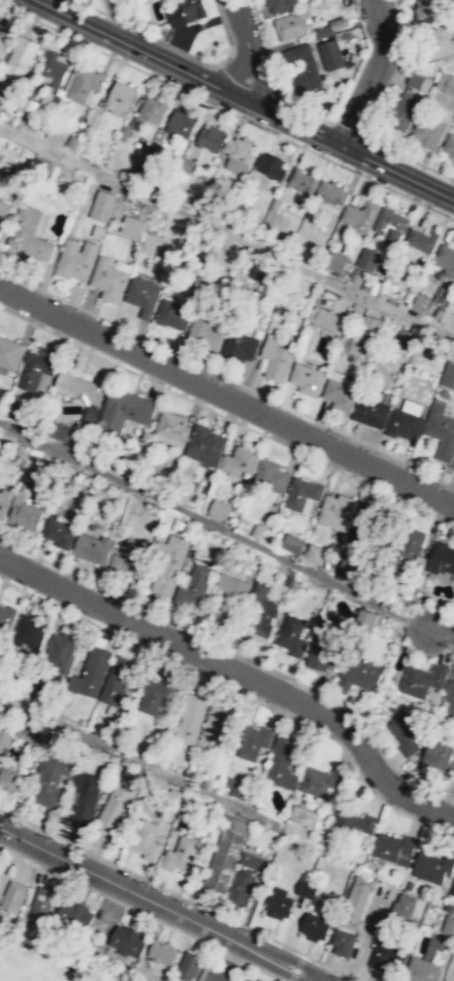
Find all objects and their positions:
building: (281, 5)
building: (426, 11)
building: (186, 12)
building: (4, 16)
road: (111, 19)
building: (292, 24)
building: (324, 31)
building: (440, 41)
street lamp: (89, 43)
road: (247, 49)
road: (267, 49)
road: (178, 50)
building: (332, 55)
building: (20, 56)
street lamp: (268, 57)
building: (52, 68)
road: (395, 69)
building: (308, 71)
road: (187, 72)
road: (374, 75)
building: (418, 82)
building: (84, 83)
building: (445, 83)
street lamp: (176, 84)
building: (120, 96)
building: (150, 109)
road: (226, 110)
road: (307, 110)
building: (404, 110)
building: (93, 117)
building: (181, 122)
street lamp: (269, 128)
road: (348, 129)
building: (124, 132)
building: (428, 132)
building: (57, 135)
building: (211, 137)
building: (73, 141)
building: (449, 146)
building: (155, 150)
building: (238, 154)
road: (409, 158)
building: (270, 165)
building: (0, 171)
street lamp: (361, 172)
road: (396, 172)
building: (304, 181)
building: (331, 192)
building: (102, 205)
building: (275, 205)
building: (3, 211)
street lamp: (449, 214)
building: (361, 215)
building: (391, 225)
building: (132, 226)
building: (99, 233)
building: (28, 235)
road: (232, 236)
building: (422, 239)
building: (151, 243)
building: (76, 258)
building: (368, 258)
building: (445, 258)
building: (337, 261)
building: (262, 272)
building: (108, 279)
building: (142, 295)
building: (437, 312)
building: (173, 313)
building: (327, 320)
building: (448, 320)
building: (371, 326)
building: (203, 330)
building: (404, 339)
building: (240, 345)
building: (10, 352)
building: (276, 358)
building: (34, 369)
building: (449, 373)
road: (226, 377)
building: (306, 378)
building: (79, 388)
building: (340, 393)
road: (227, 394)
building: (15, 410)
building: (123, 411)
building: (371, 411)
building: (404, 423)
building: (171, 428)
building: (441, 431)
building: (68, 434)
building: (204, 444)
building: (239, 460)
building: (35, 463)
building: (271, 475)
building: (302, 493)
building: (5, 500)
building: (218, 508)
building: (338, 513)
building: (25, 515)
road: (213, 524)
building: (364, 524)
building: (183, 527)
building: (257, 530)
building: (58, 532)
building: (200, 540)
building: (215, 540)
building: (292, 543)
building: (408, 546)
building: (92, 548)
building: (314, 553)
building: (127, 557)
building: (441, 557)
building: (170, 564)
building: (354, 569)
building: (289, 578)
building: (194, 585)
building: (230, 598)
building: (257, 612)
building: (367, 618)
building: (5, 620)
road: (440, 628)
building: (29, 632)
building: (294, 642)
building: (324, 642)
building: (61, 649)
building: (90, 672)
road: (240, 672)
building: (360, 673)
building: (420, 678)
building: (117, 682)
road: (239, 692)
building: (155, 694)
building: (448, 696)
building: (188, 720)
building: (216, 729)
building: (28, 730)
building: (5, 731)
building: (405, 732)
building: (254, 741)
building: (440, 757)
road: (141, 759)
building: (281, 762)
street lamp: (351, 766)
building: (132, 776)
building: (11, 777)
building: (49, 779)
building: (320, 780)
building: (238, 787)
building: (249, 792)
building: (172, 796)
building: (83, 797)
building: (114, 809)
building: (303, 814)
building: (328, 820)
building: (353, 824)
street lamp: (53, 838)
building: (322, 838)
building: (145, 839)
building: (392, 846)
building: (179, 854)
building: (224, 854)
building: (253, 861)
building: (432, 867)
road: (50, 868)
street lamp: (152, 884)
building: (240, 887)
building: (305, 888)
building: (452, 890)
road: (180, 894)
building: (12, 897)
road: (114, 899)
building: (356, 901)
building: (40, 903)
building: (279, 903)
road: (160, 904)
building: (403, 905)
building: (1, 910)
building: (75, 913)
building: (448, 924)
building: (315, 925)
road: (170, 926)
street lamp: (252, 933)
building: (127, 941)
building: (342, 942)
building: (160, 952)
road: (227, 954)
building: (387, 954)
park: (36, 964)
building: (188, 965)
road: (296, 967)
building: (421, 970)
road: (263, 971)
parking lot: (224, 973)
street lamp: (349, 979)

